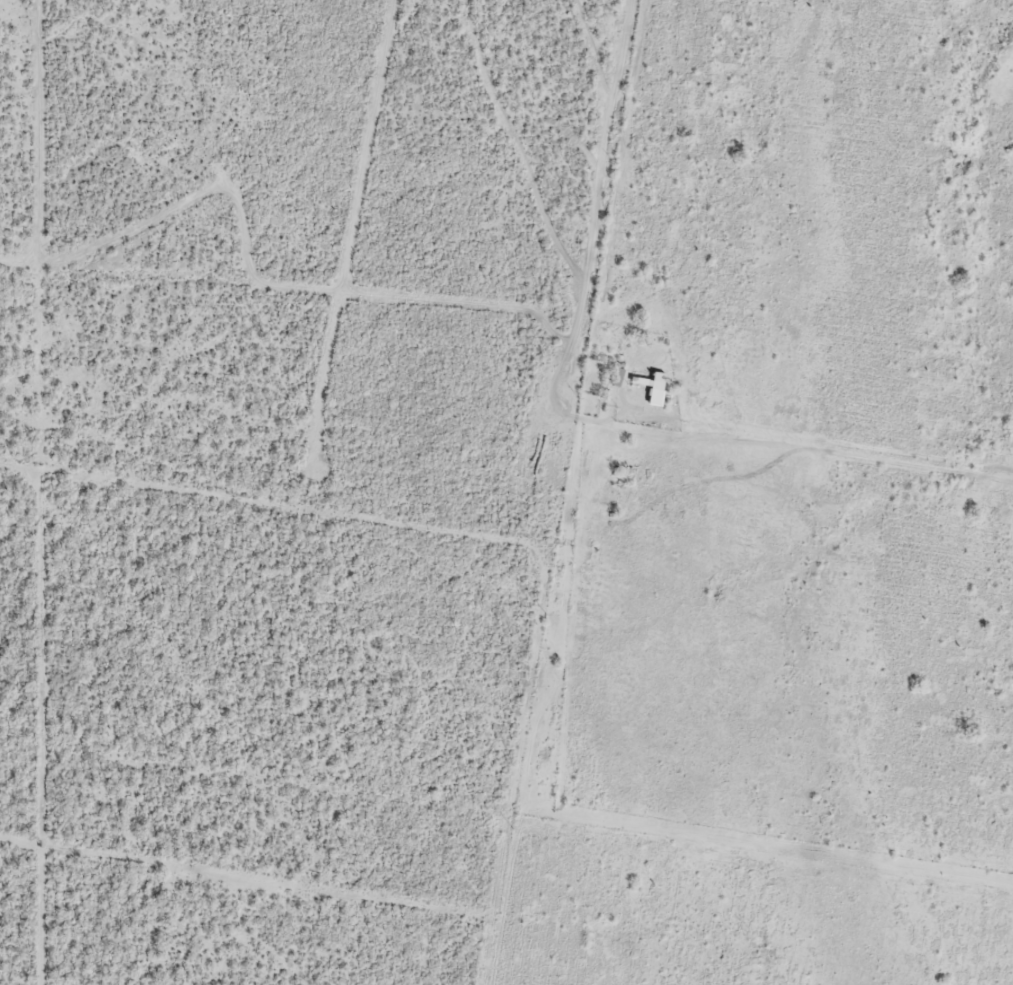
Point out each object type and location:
building: (617, 380)
building: (657, 381)

